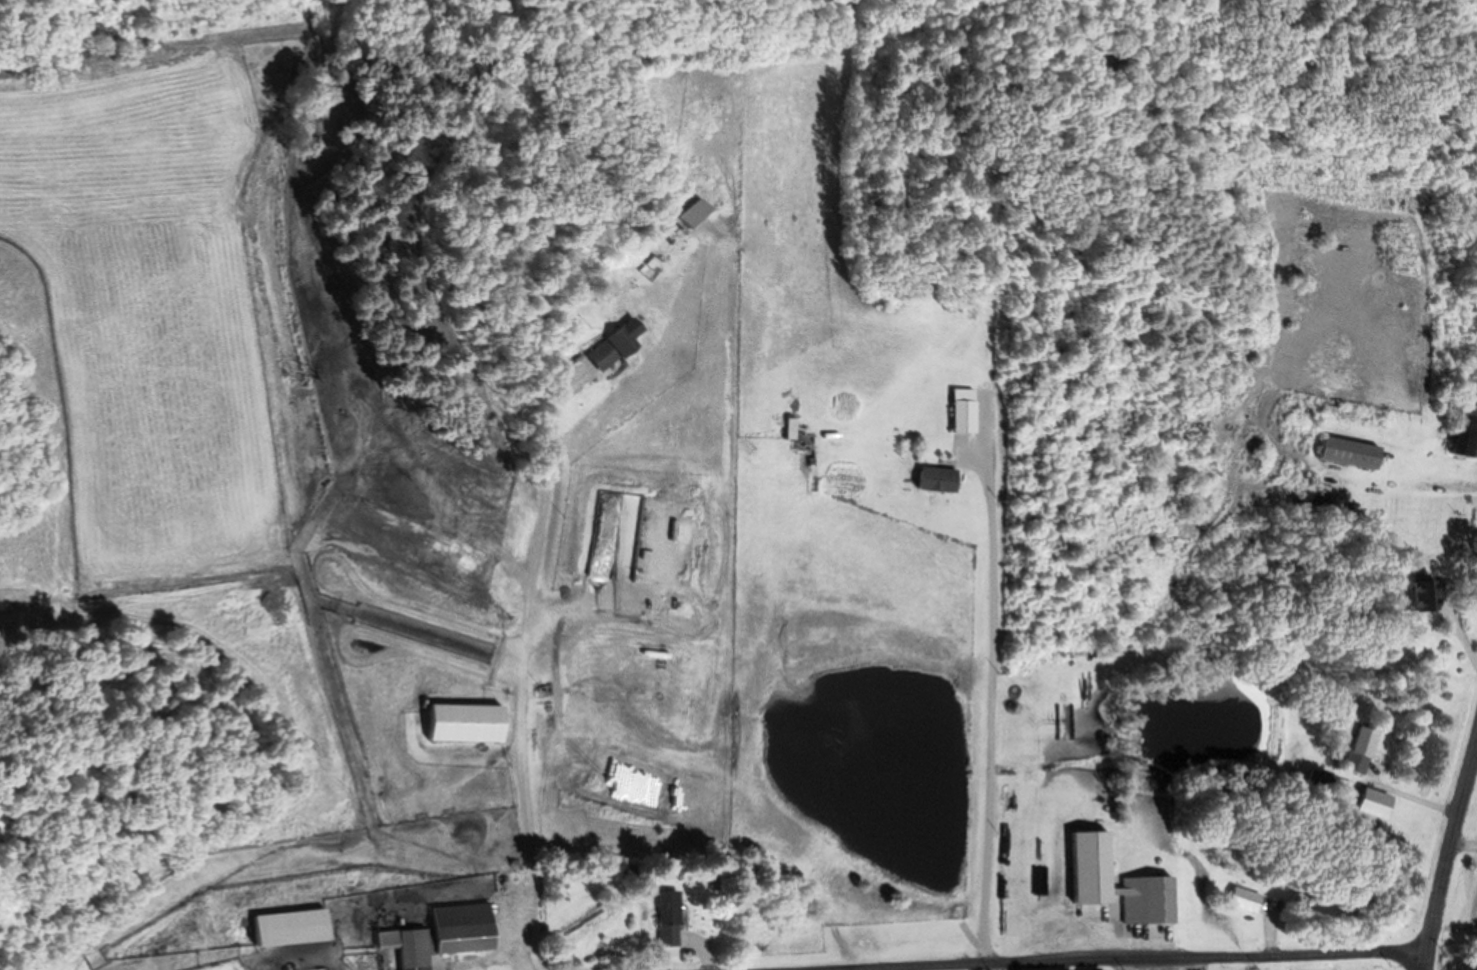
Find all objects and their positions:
building: (634, 340)
building: (608, 358)
building: (971, 418)
building: (798, 430)
building: (1472, 438)
building: (1359, 455)
building: (943, 481)
road: (987, 586)
building: (1430, 593)
road: (1458, 621)
road: (523, 678)
building: (472, 725)
building: (1370, 752)
building: (1335, 786)
building: (1383, 806)
road: (1445, 850)
building: (1251, 901)
building: (1154, 902)
building: (1318, 907)
building: (676, 926)
building: (298, 930)
building: (449, 937)
road: (1299, 958)

